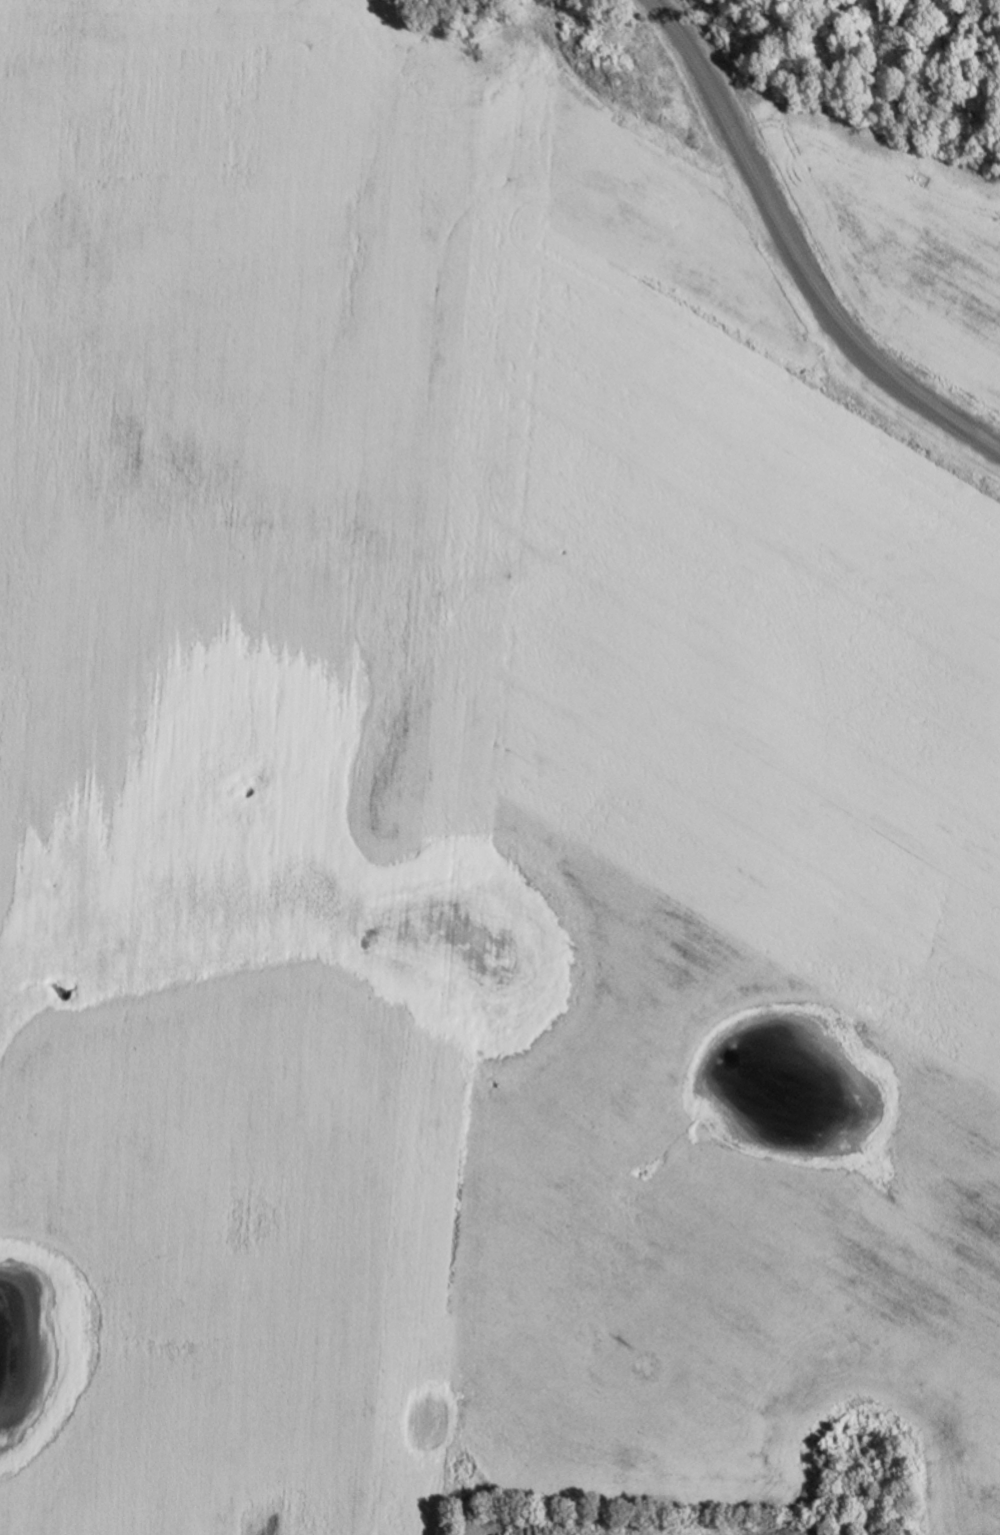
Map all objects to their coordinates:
road: (797, 248)

